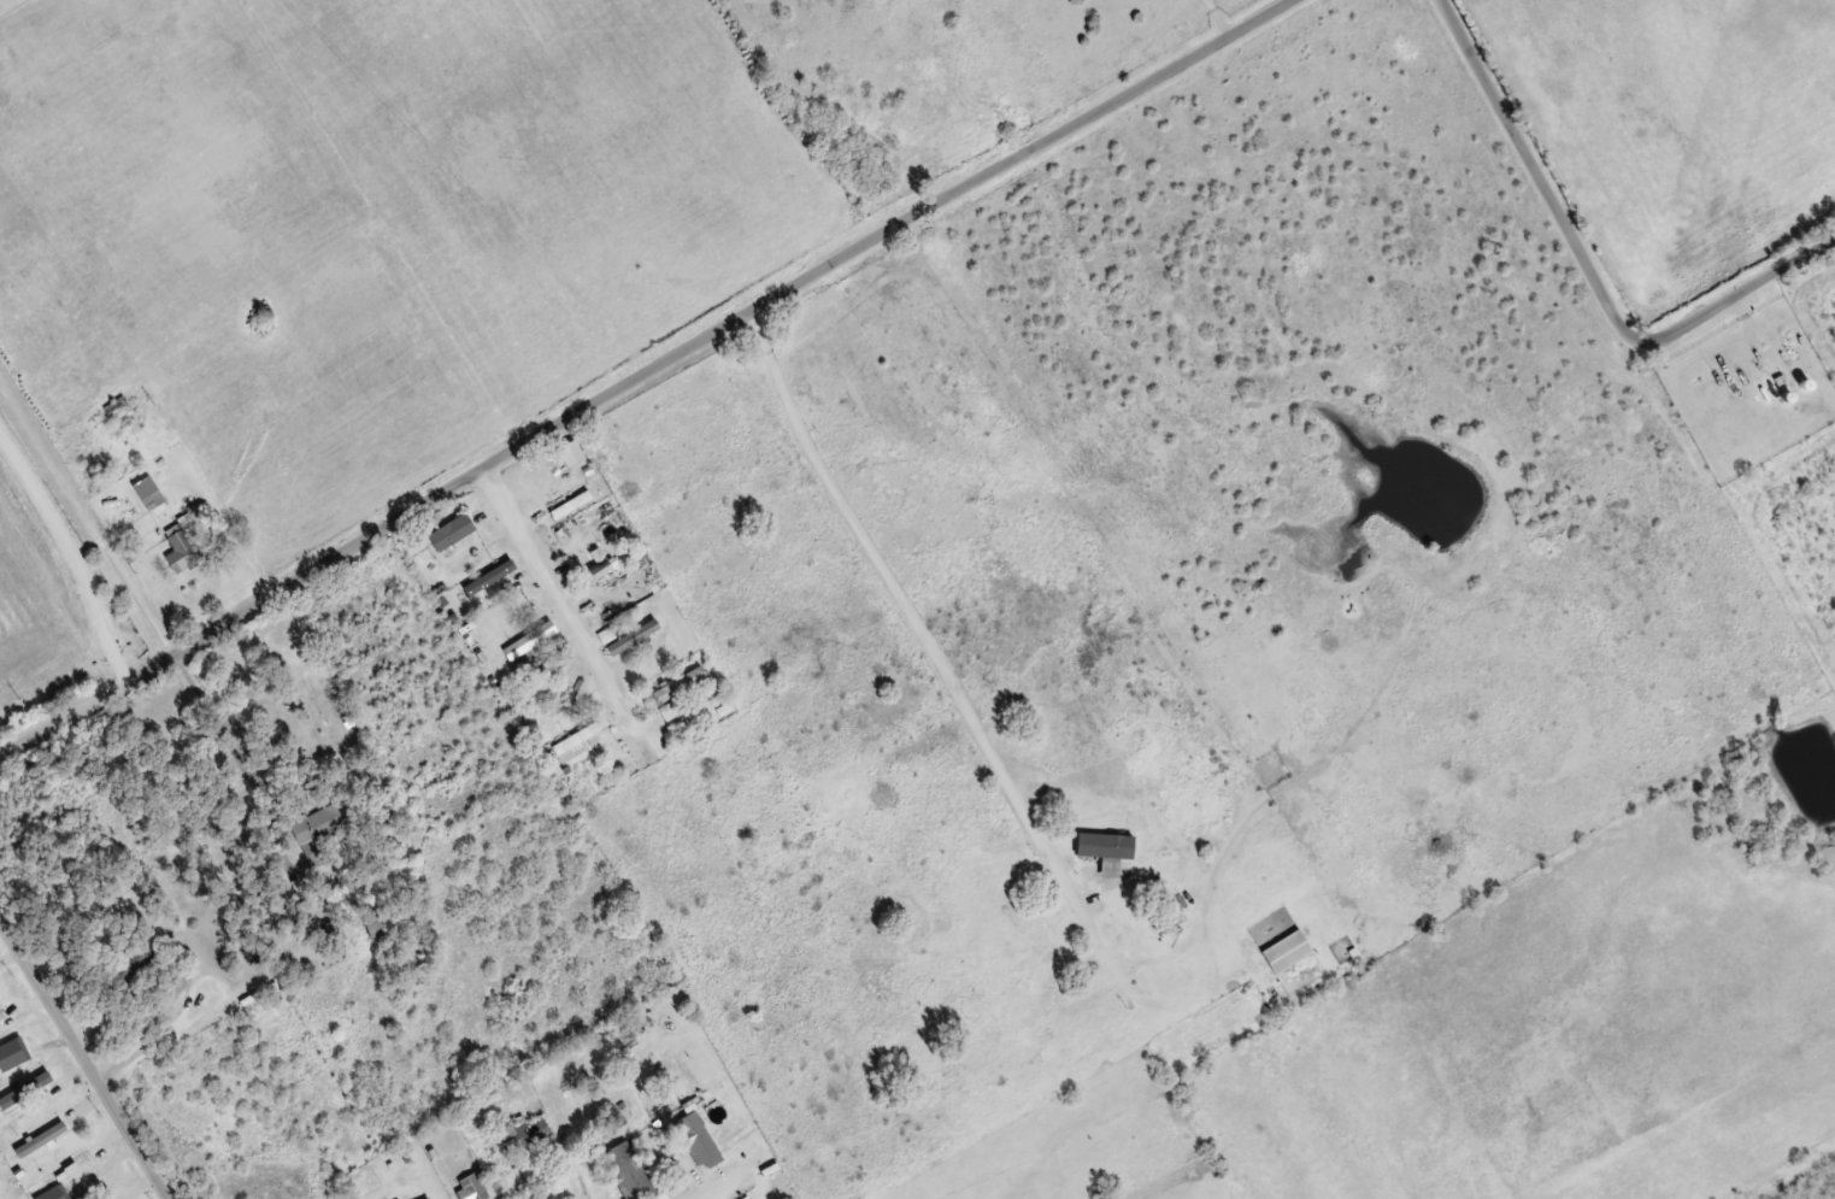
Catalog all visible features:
road: (1333, 4)
road: (176, 277)
road: (1578, 296)
road: (664, 363)
building: (1806, 383)
building: (120, 412)
building: (571, 453)
road: (1317, 472)
building: (143, 483)
building: (571, 504)
building: (452, 531)
building: (183, 549)
building: (487, 578)
road: (580, 606)
building: (530, 639)
building: (551, 665)
building: (677, 689)
building: (583, 741)
building: (325, 822)
building: (1104, 868)
building: (374, 924)
building: (1288, 951)
road: (7, 978)
building: (1, 1015)
building: (11, 1047)
building: (25, 1058)
road: (77, 1075)
building: (22, 1094)
building: (527, 1134)
building: (698, 1136)
building: (42, 1139)
road: (802, 1142)
building: (471, 1187)
building: (428, 1198)

